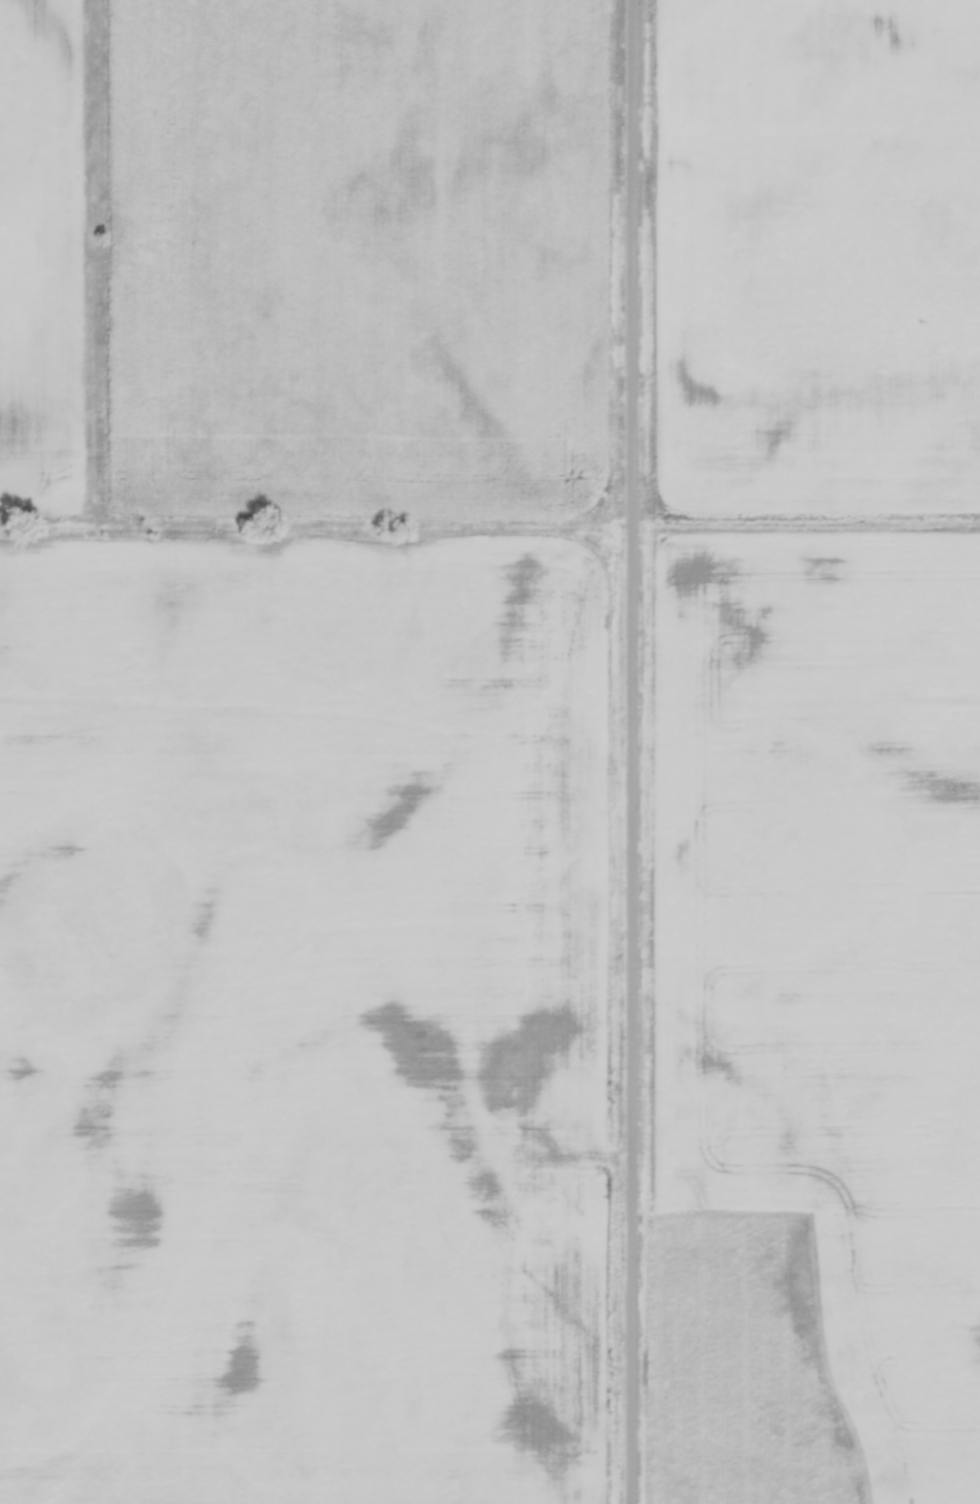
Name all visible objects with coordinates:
road: (629, 752)

